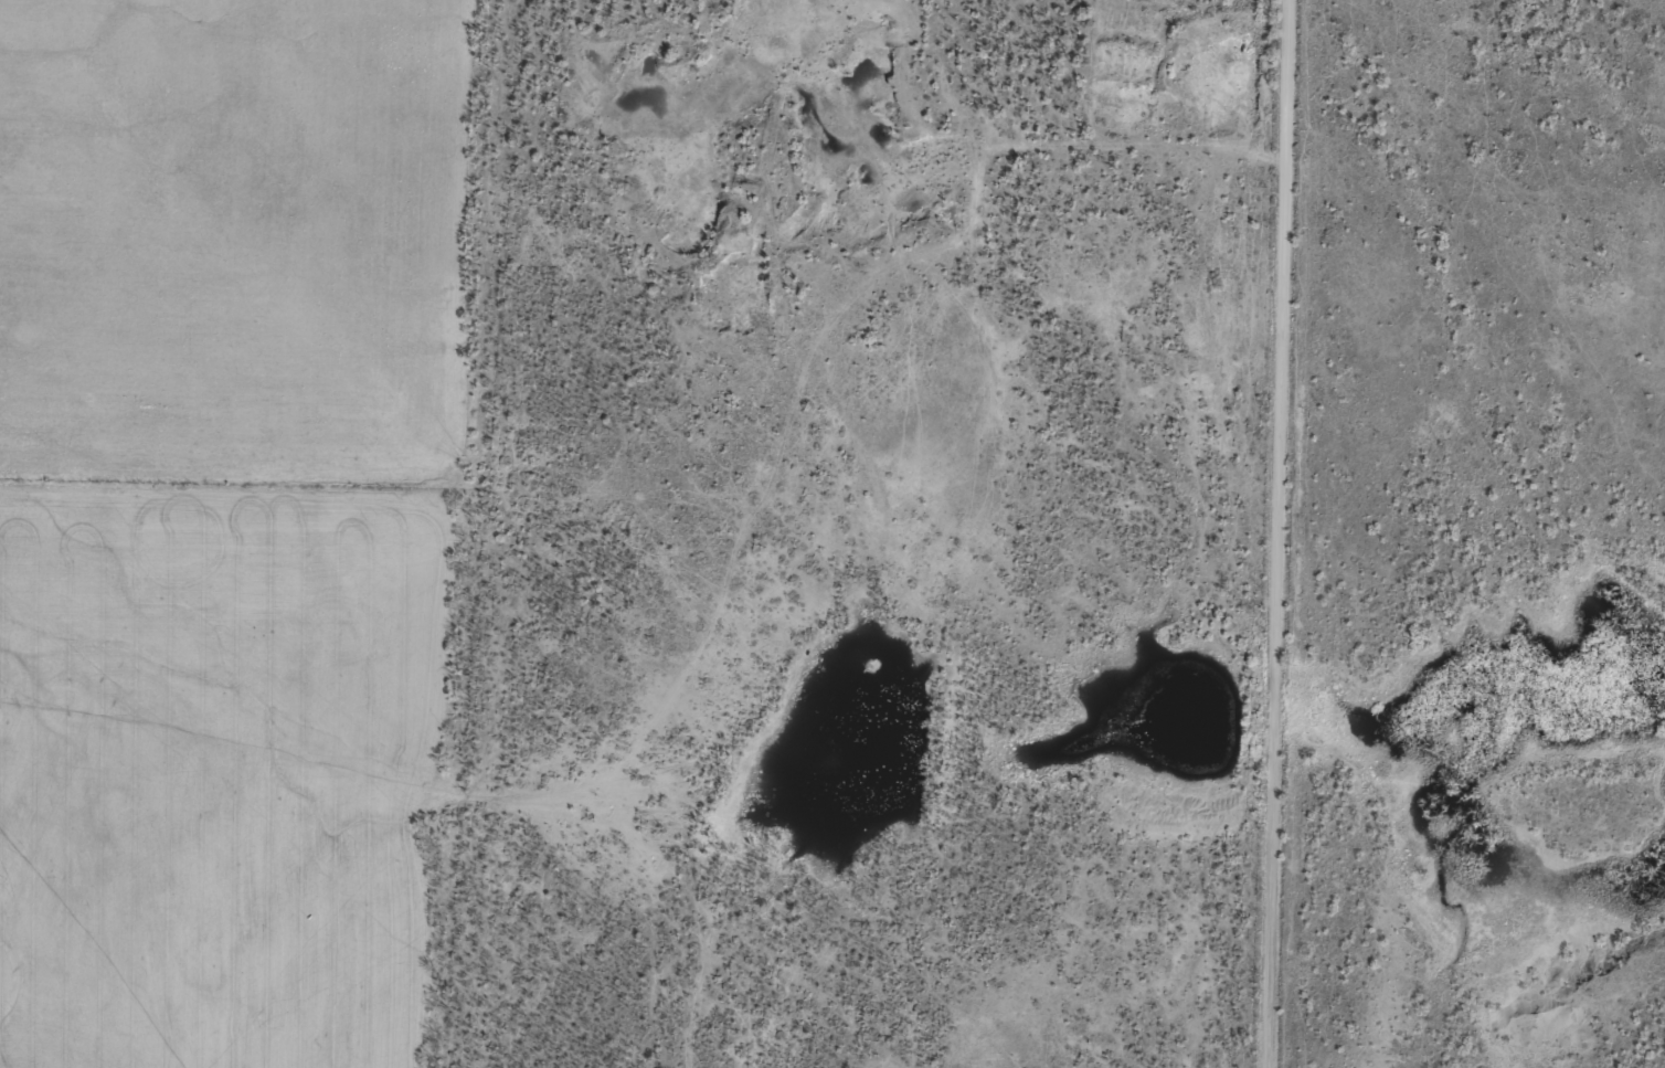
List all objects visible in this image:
road: (1283, 533)

